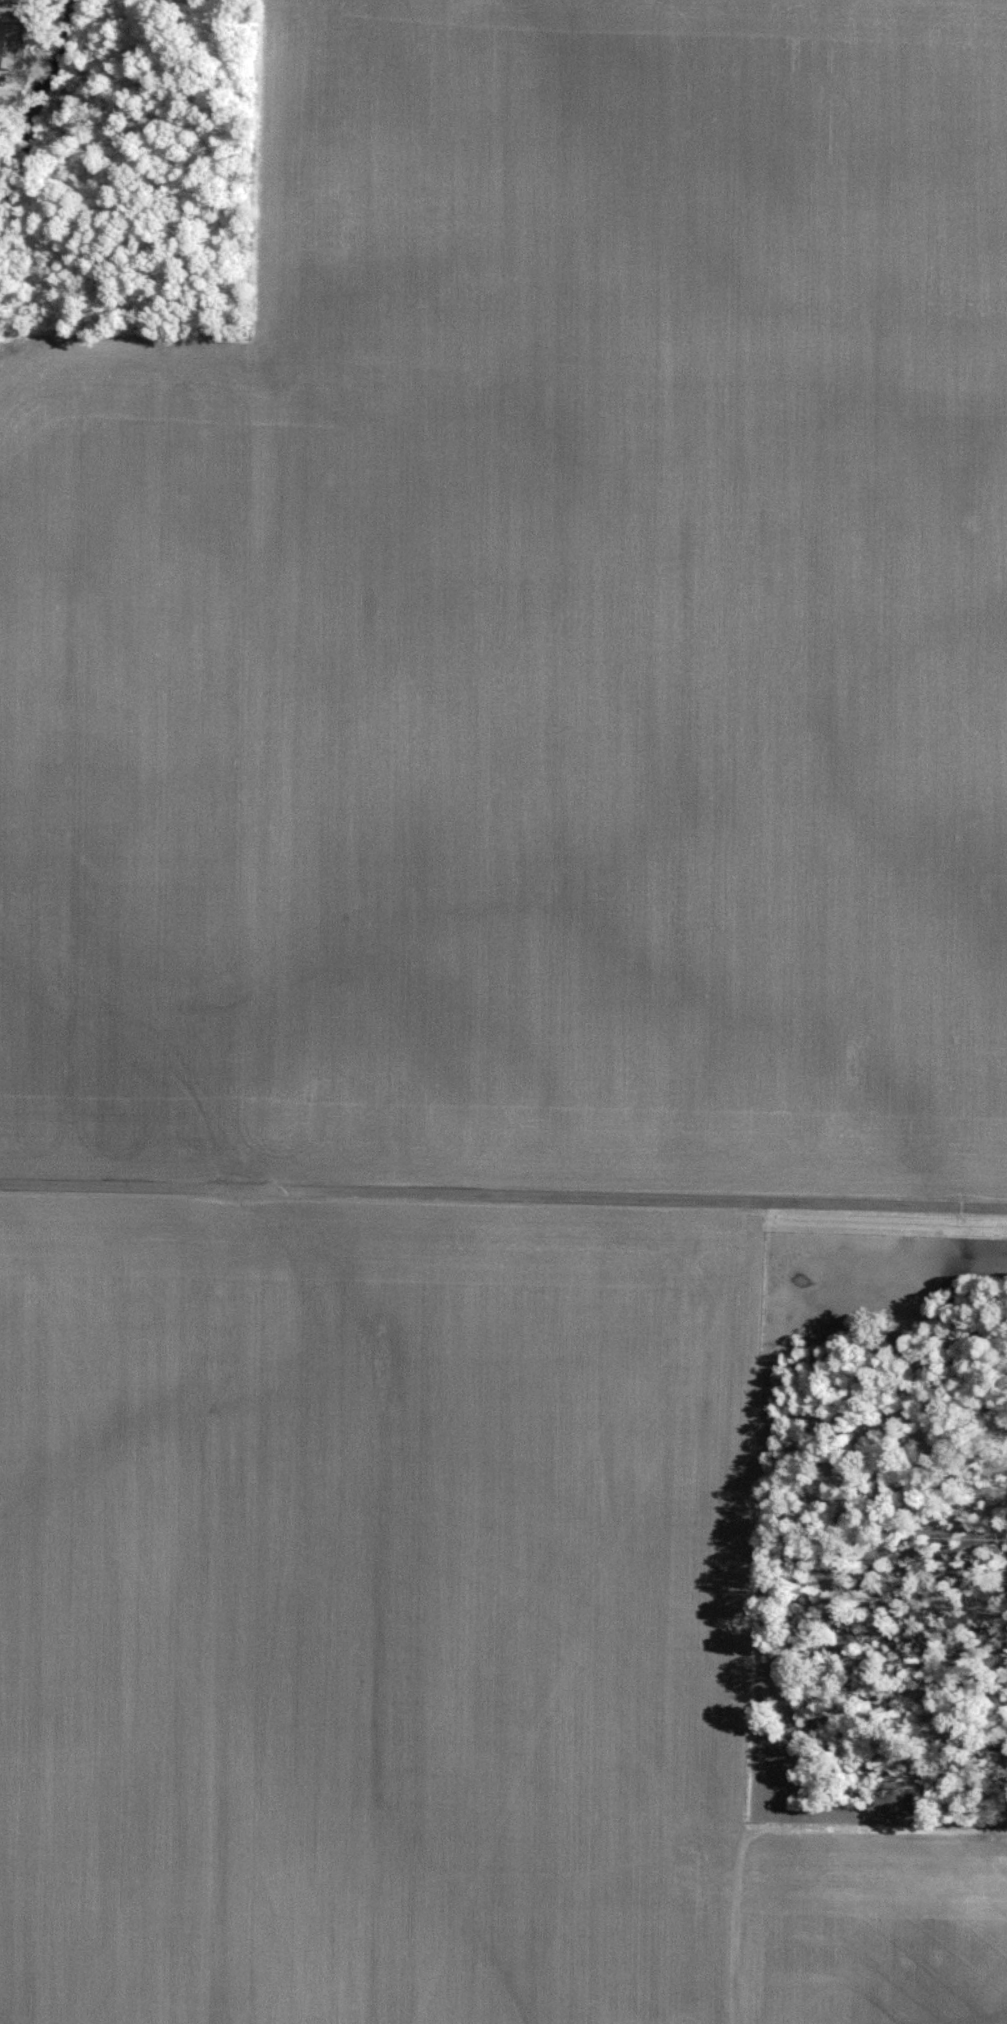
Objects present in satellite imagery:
building: (18, 42)
road: (503, 1195)

